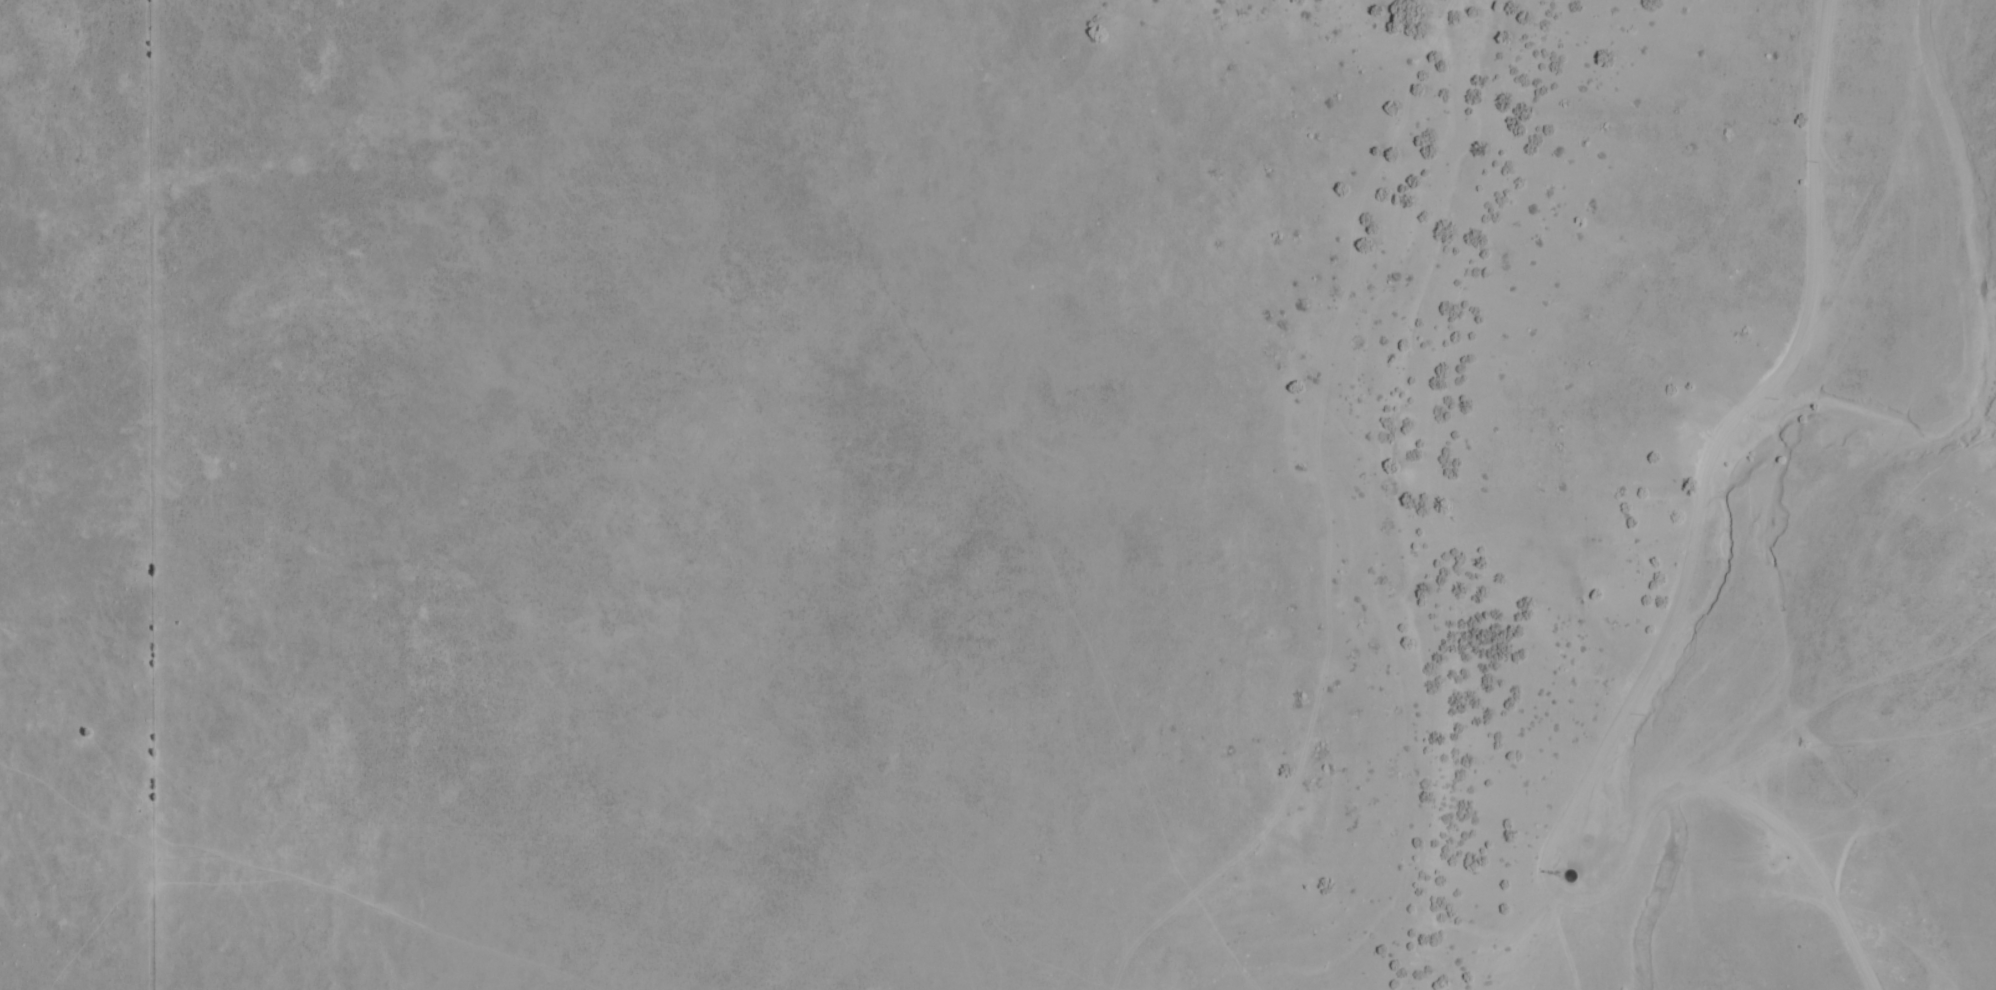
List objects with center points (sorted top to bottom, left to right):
road: (1681, 496)
road: (1723, 882)

